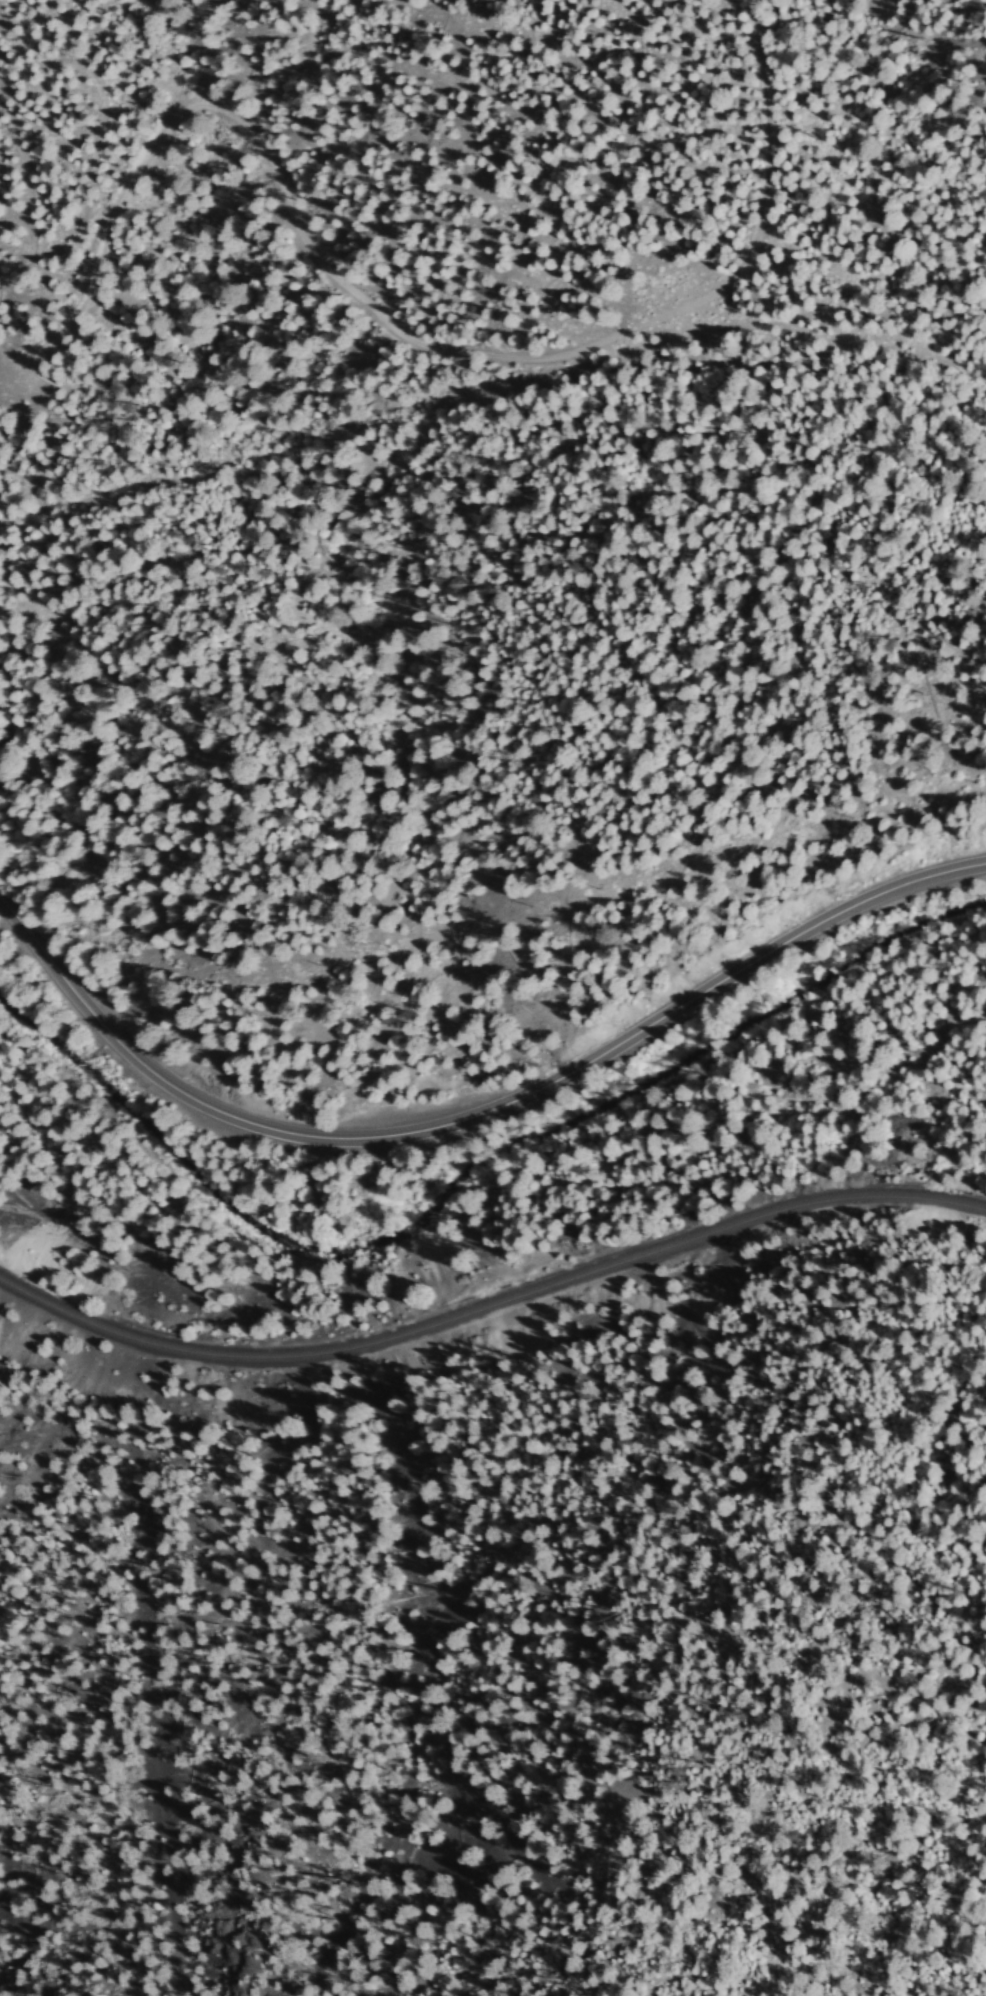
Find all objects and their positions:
road: (478, 1118)
railway: (492, 1303)

